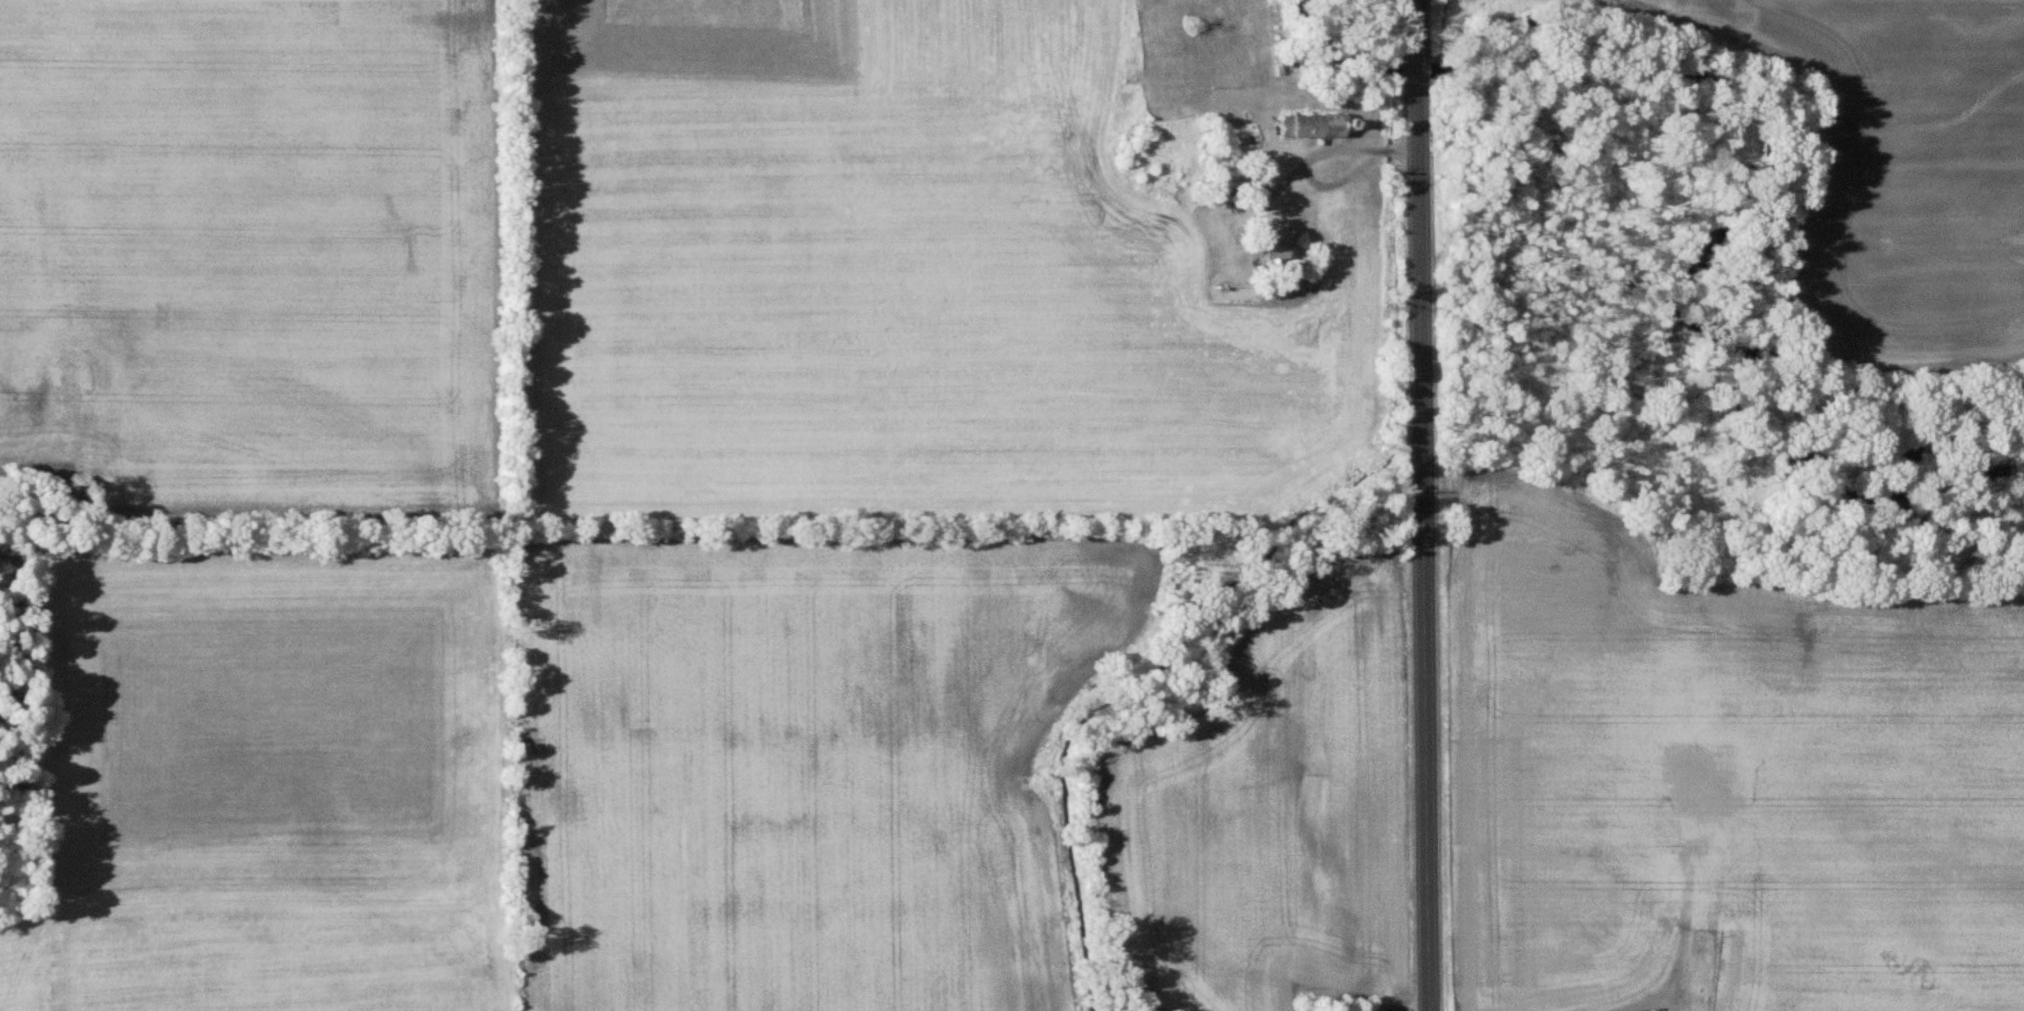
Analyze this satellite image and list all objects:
building: (1318, 125)
road: (1328, 150)
building: (1222, 186)
building: (1275, 251)
road: (1423, 505)

